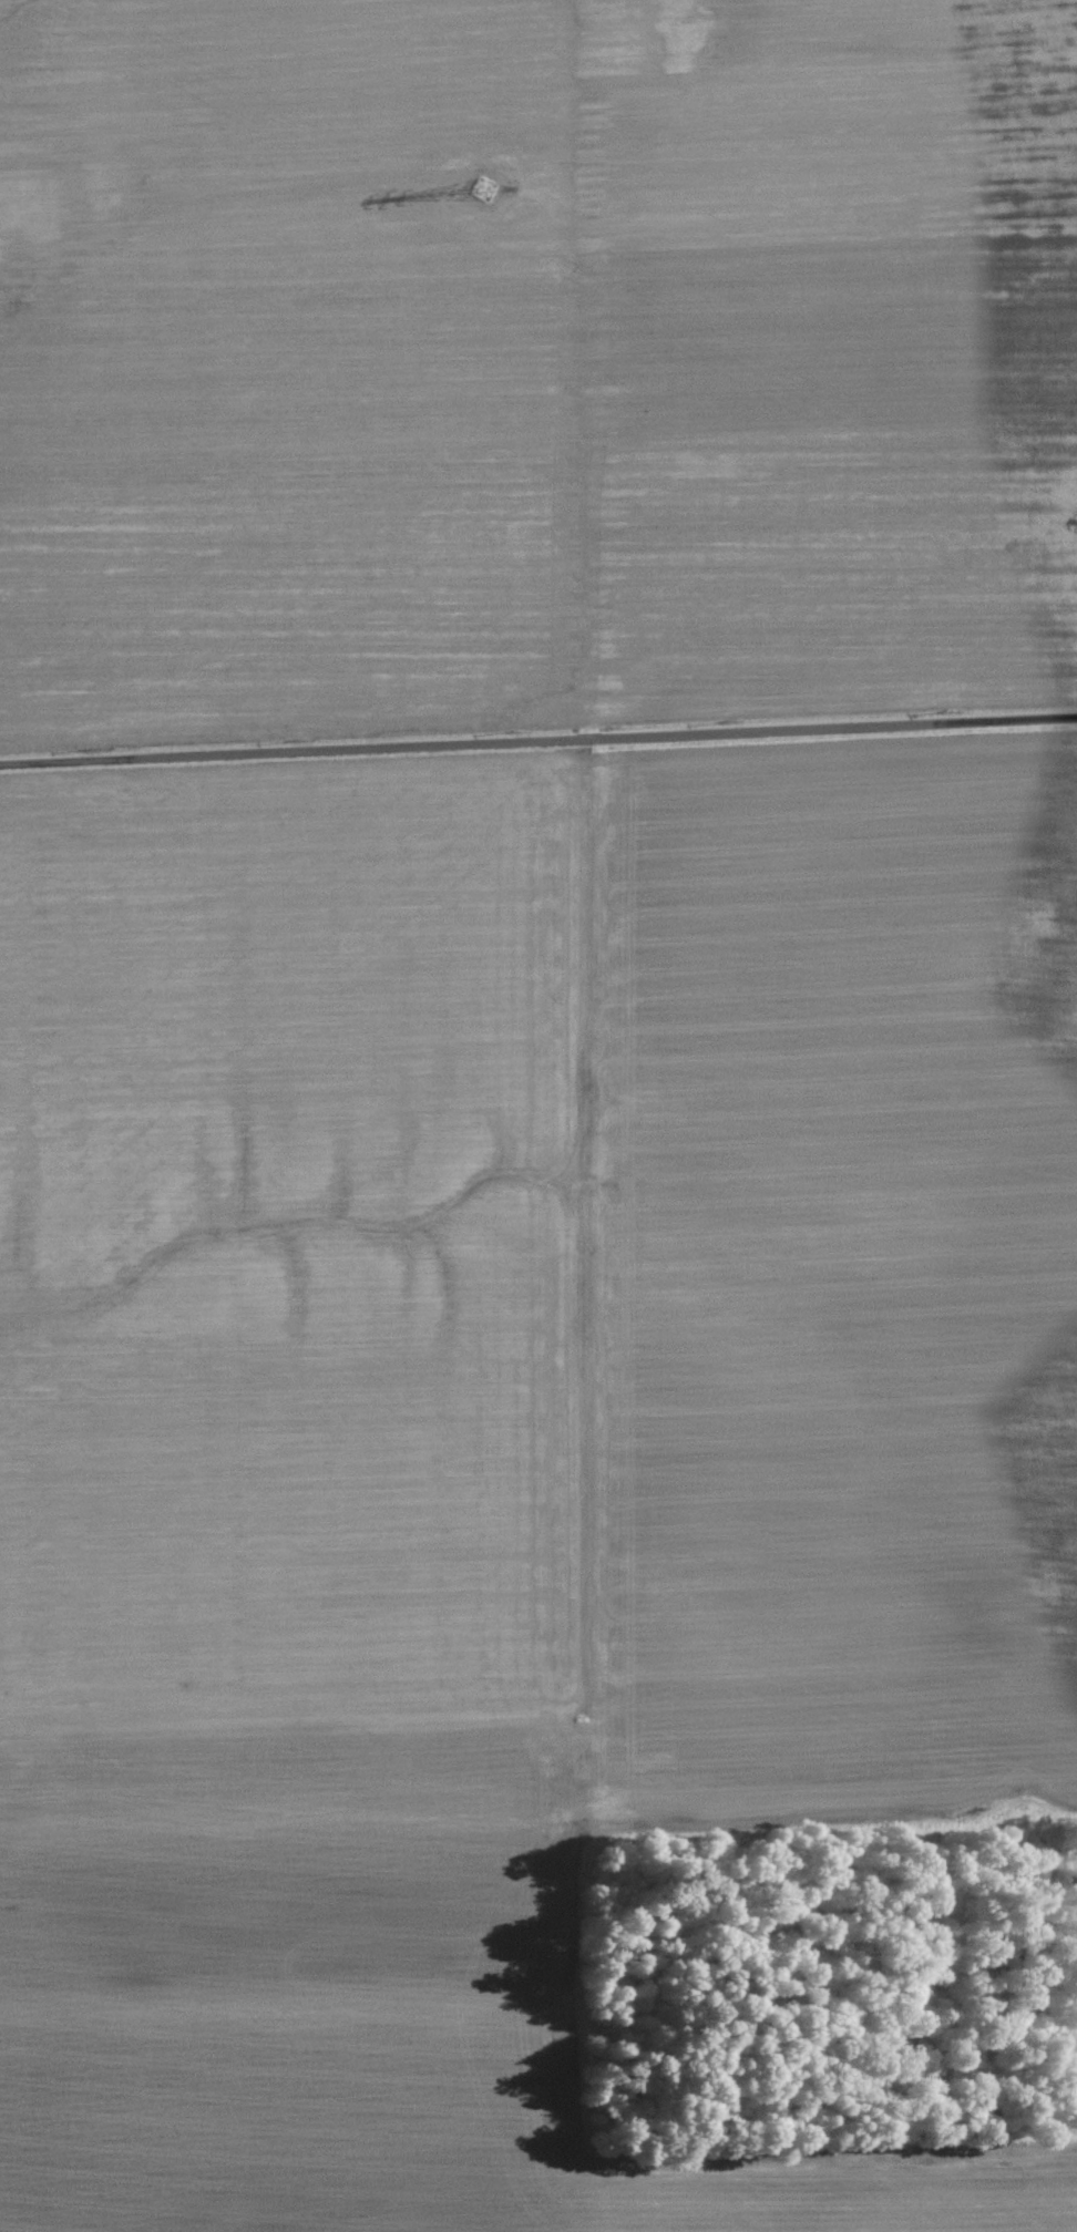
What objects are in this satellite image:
power tower: (472, 200)
road: (538, 731)

